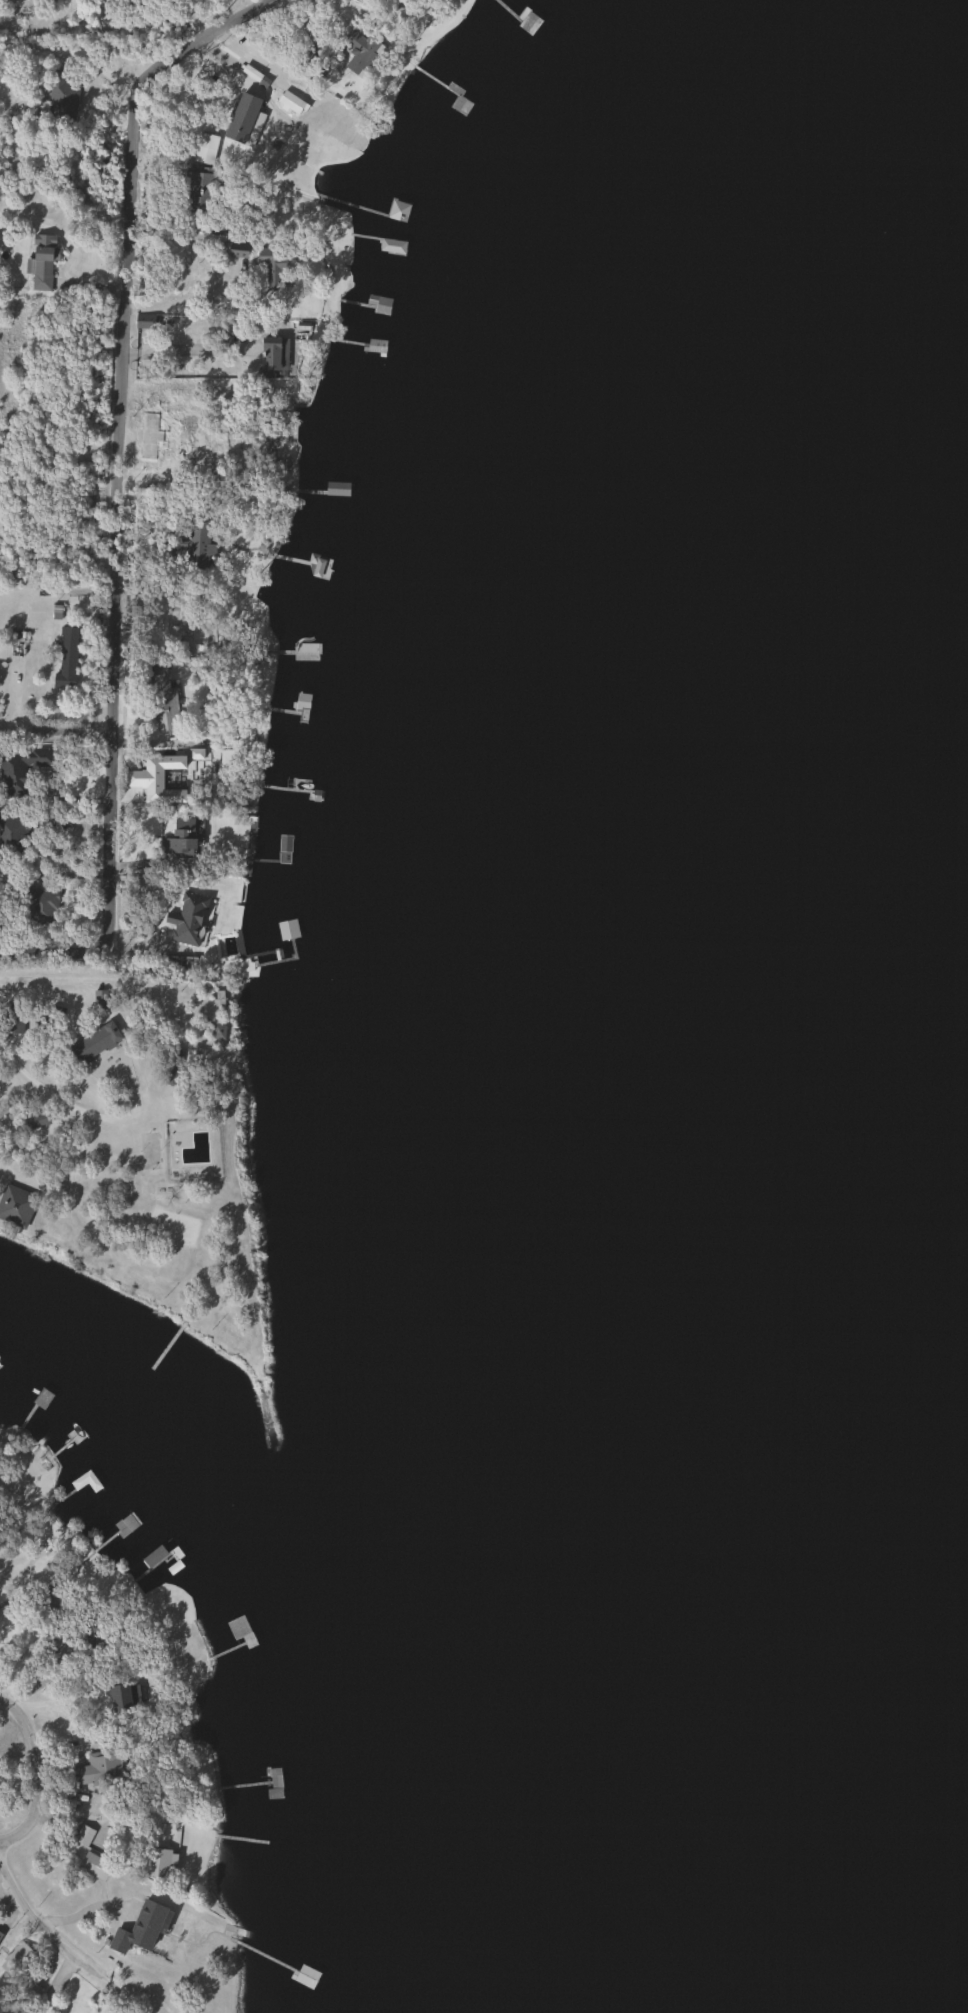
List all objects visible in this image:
building: (528, 23)
building: (357, 53)
road: (98, 65)
building: (317, 99)
building: (289, 103)
building: (240, 114)
building: (205, 141)
building: (199, 193)
building: (397, 211)
building: (391, 247)
building: (42, 262)
building: (270, 262)
road: (192, 299)
building: (143, 321)
building: (375, 346)
road: (178, 349)
building: (272, 357)
road: (124, 436)
building: (148, 437)
building: (336, 490)
building: (197, 545)
building: (320, 568)
building: (66, 656)
building: (162, 700)
building: (20, 769)
building: (10, 832)
building: (178, 837)
building: (41, 904)
building: (187, 920)
building: (223, 945)
road: (96, 946)
road: (80, 979)
building: (11, 1019)
building: (94, 1042)
building: (171, 1069)
road: (79, 1111)
building: (32, 1119)
building: (15, 1205)
building: (85, 1481)
building: (127, 1523)
building: (48, 1603)
building: (240, 1630)
building: (141, 1699)
building: (96, 1770)
road: (39, 1774)
building: (83, 1835)
building: (157, 1862)
building: (93, 1866)
road: (28, 1904)
building: (138, 1928)
building: (0, 1936)
building: (304, 1976)

